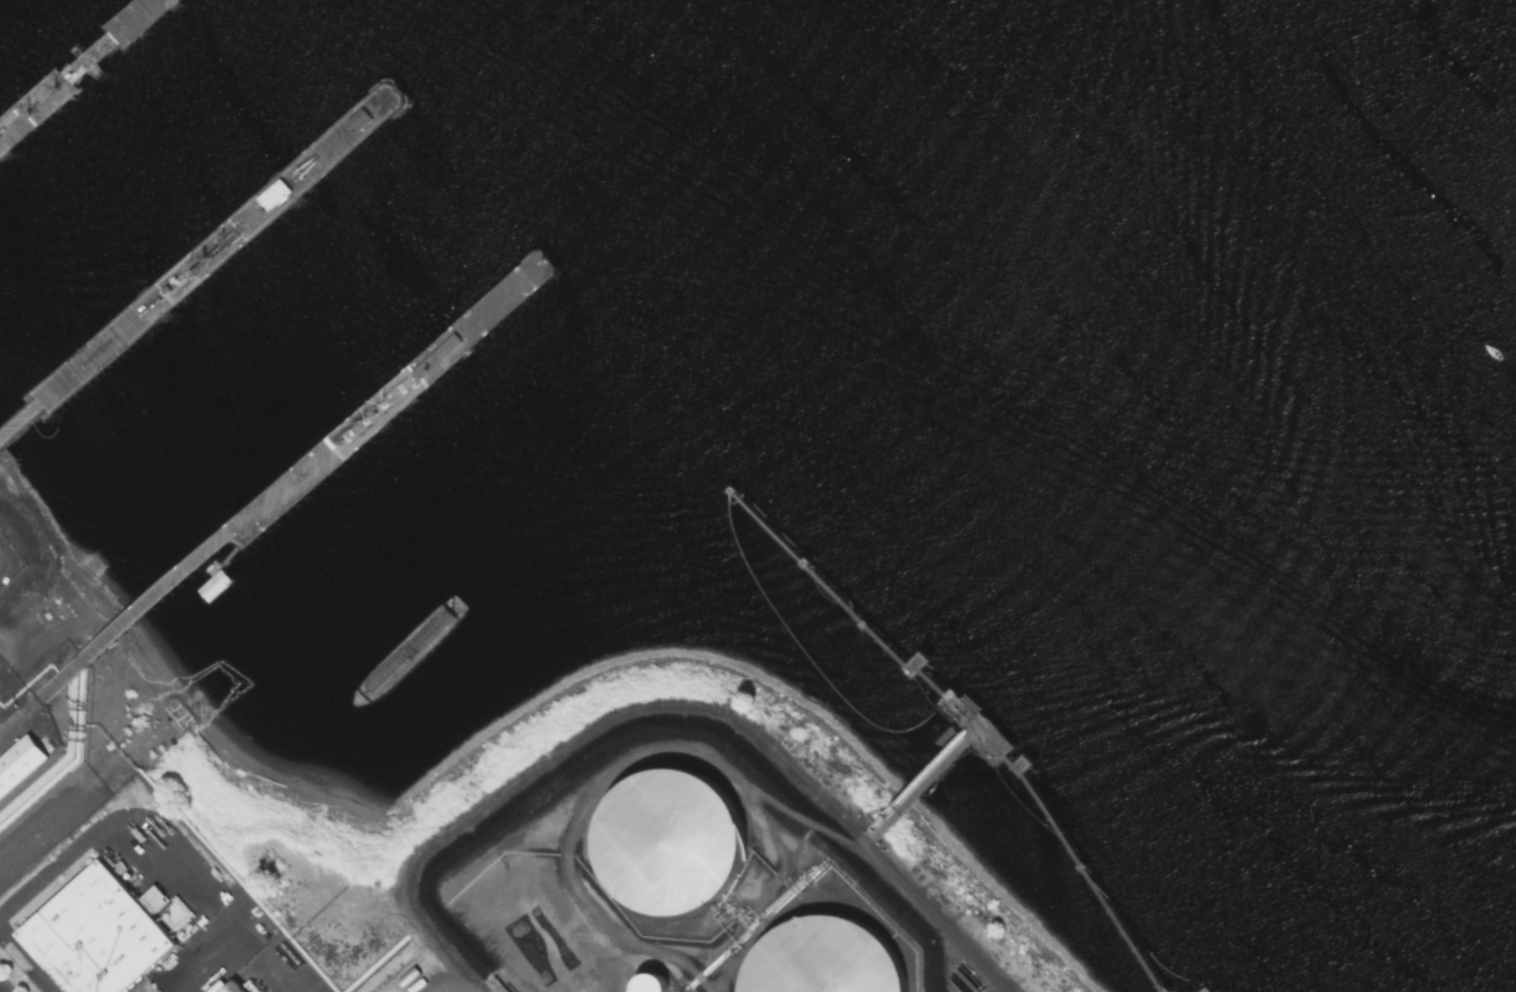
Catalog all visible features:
pier: (77, 70)
building: (366, 117)
building: (286, 189)
river: (1324, 213)
pier: (204, 259)
pier: (327, 453)
building: (6, 564)
road: (666, 710)
pier: (956, 741)
building: (21, 766)
building: (12, 805)
building: (669, 844)
building: (96, 933)
road: (236, 947)
building: (823, 958)
building: (650, 986)
building: (231, 987)
pier: (1204, 989)

